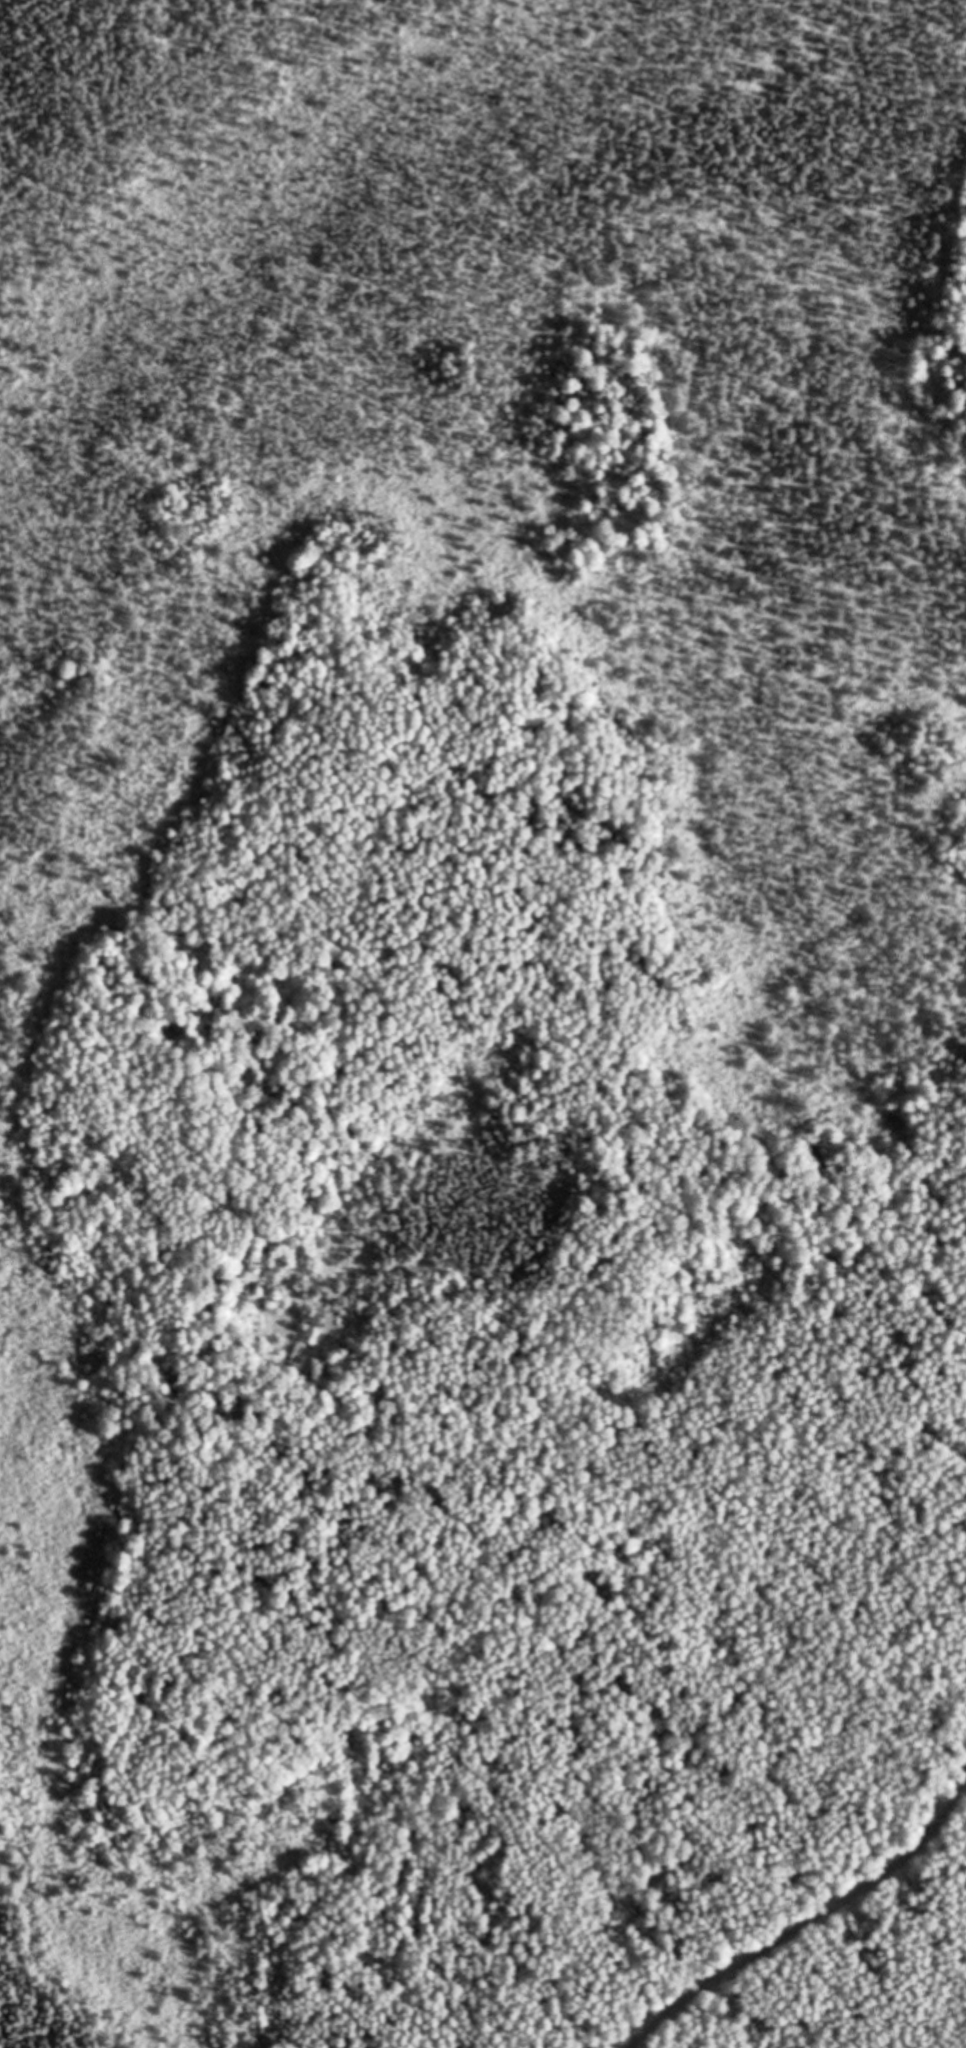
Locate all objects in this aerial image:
road: (807, 1919)

